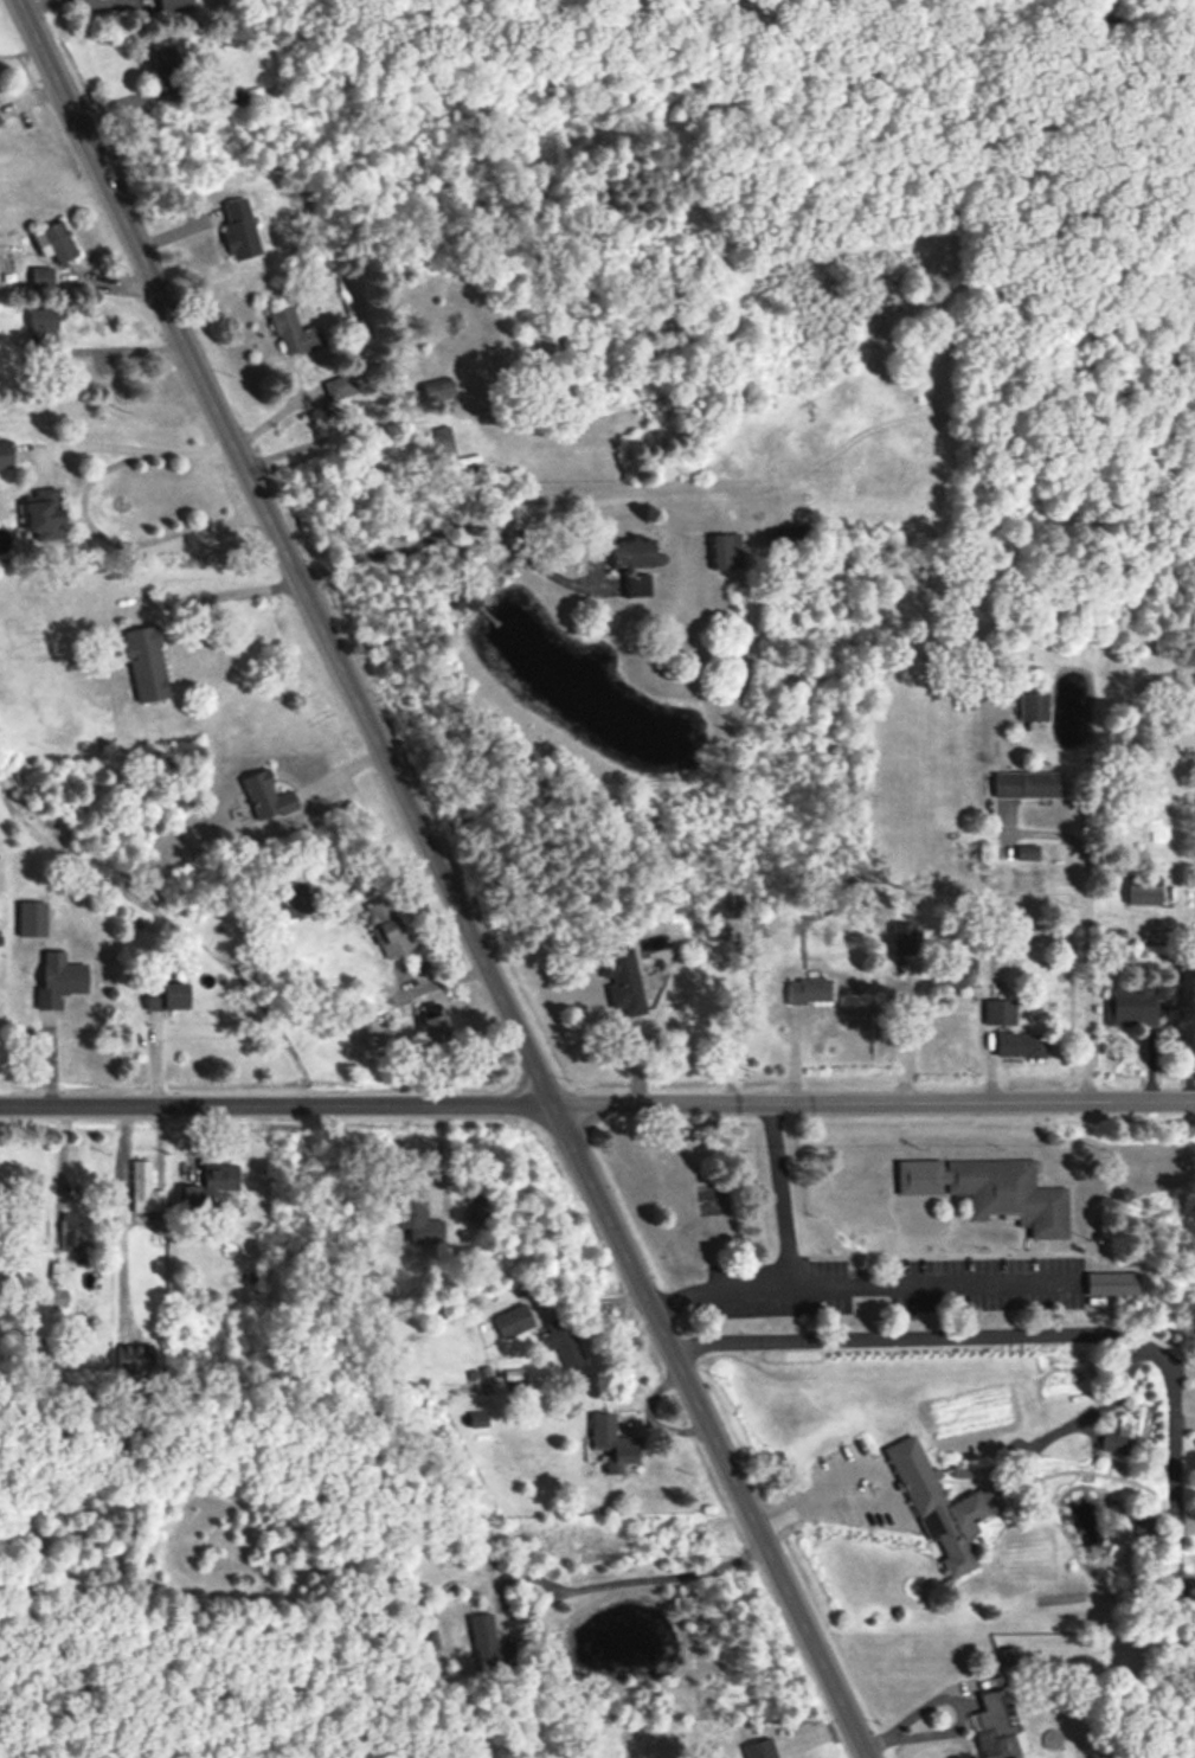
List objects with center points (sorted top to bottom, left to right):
building: (139, 4)
building: (175, 4)
building: (166, 62)
building: (239, 230)
building: (54, 242)
building: (41, 276)
building: (37, 327)
building: (293, 332)
road: (122, 353)
building: (340, 386)
building: (438, 389)
road: (330, 412)
building: (5, 454)
road: (144, 458)
building: (45, 514)
road: (454, 532)
building: (725, 551)
building: (632, 552)
road: (123, 554)
building: (635, 583)
road: (224, 605)
building: (144, 662)
building: (1033, 706)
building: (1027, 784)
building: (266, 796)
building: (1027, 852)
road: (443, 880)
building: (1143, 888)
building: (295, 898)
building: (724, 906)
building: (31, 918)
building: (387, 929)
road: (1087, 929)
building: (902, 938)
building: (959, 974)
building: (59, 980)
building: (622, 980)
building: (808, 990)
building: (166, 996)
building: (1133, 1003)
building: (1000, 1012)
building: (433, 1025)
building: (1020, 1045)
road: (597, 1099)
building: (219, 1181)
building: (144, 1188)
building: (990, 1189)
road: (778, 1194)
building: (189, 1195)
building: (417, 1219)
building: (70, 1231)
building: (1111, 1283)
road: (860, 1287)
building: (513, 1321)
road: (1043, 1337)
building: (563, 1342)
building: (134, 1356)
building: (478, 1418)
building: (1116, 1441)
building: (612, 1442)
road: (874, 1463)
building: (939, 1504)
building: (1142, 1526)
road: (637, 1579)
building: (430, 1643)
building: (489, 1643)
building: (1008, 1655)
building: (996, 1728)

